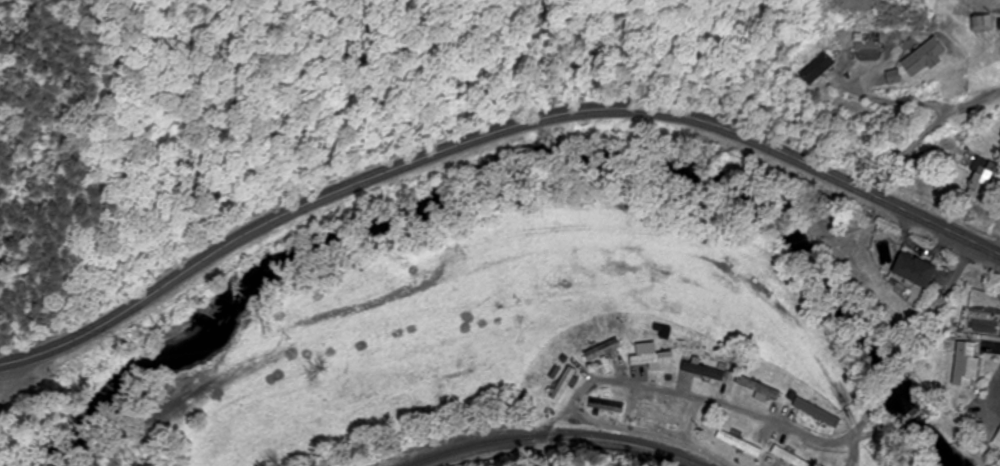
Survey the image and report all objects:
building: (996, 24)
building: (918, 58)
building: (813, 70)
road: (489, 134)
river: (522, 164)
building: (977, 173)
building: (908, 271)
road: (945, 291)
building: (598, 353)
building: (651, 362)
building: (963, 365)
building: (700, 373)
road: (895, 377)
building: (559, 386)
building: (754, 389)
building: (603, 407)
road: (726, 408)
building: (813, 414)
building: (658, 419)
building: (997, 436)
road: (855, 437)
railway: (555, 439)
building: (751, 452)
building: (784, 458)

